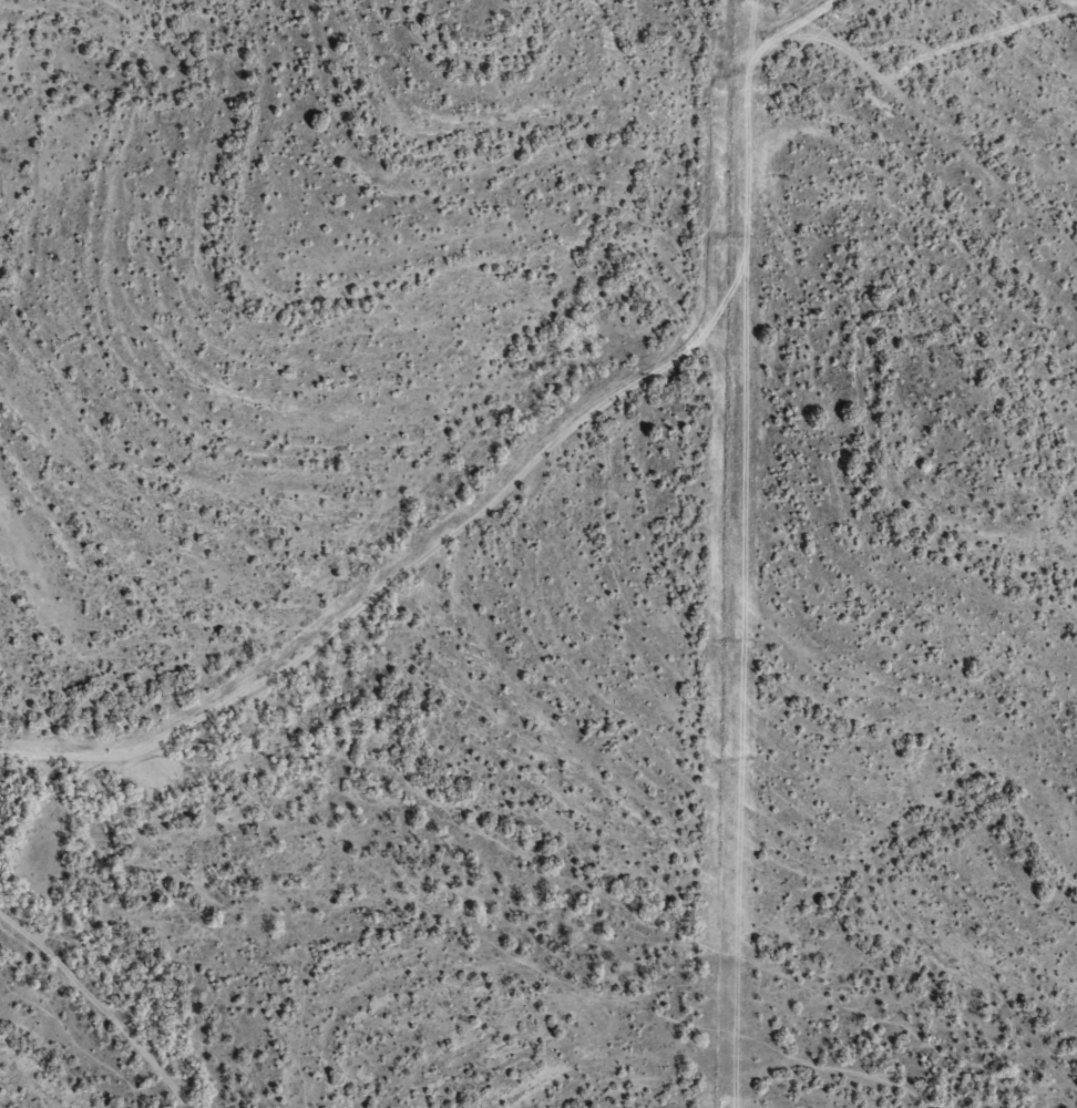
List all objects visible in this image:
road: (532, 506)

